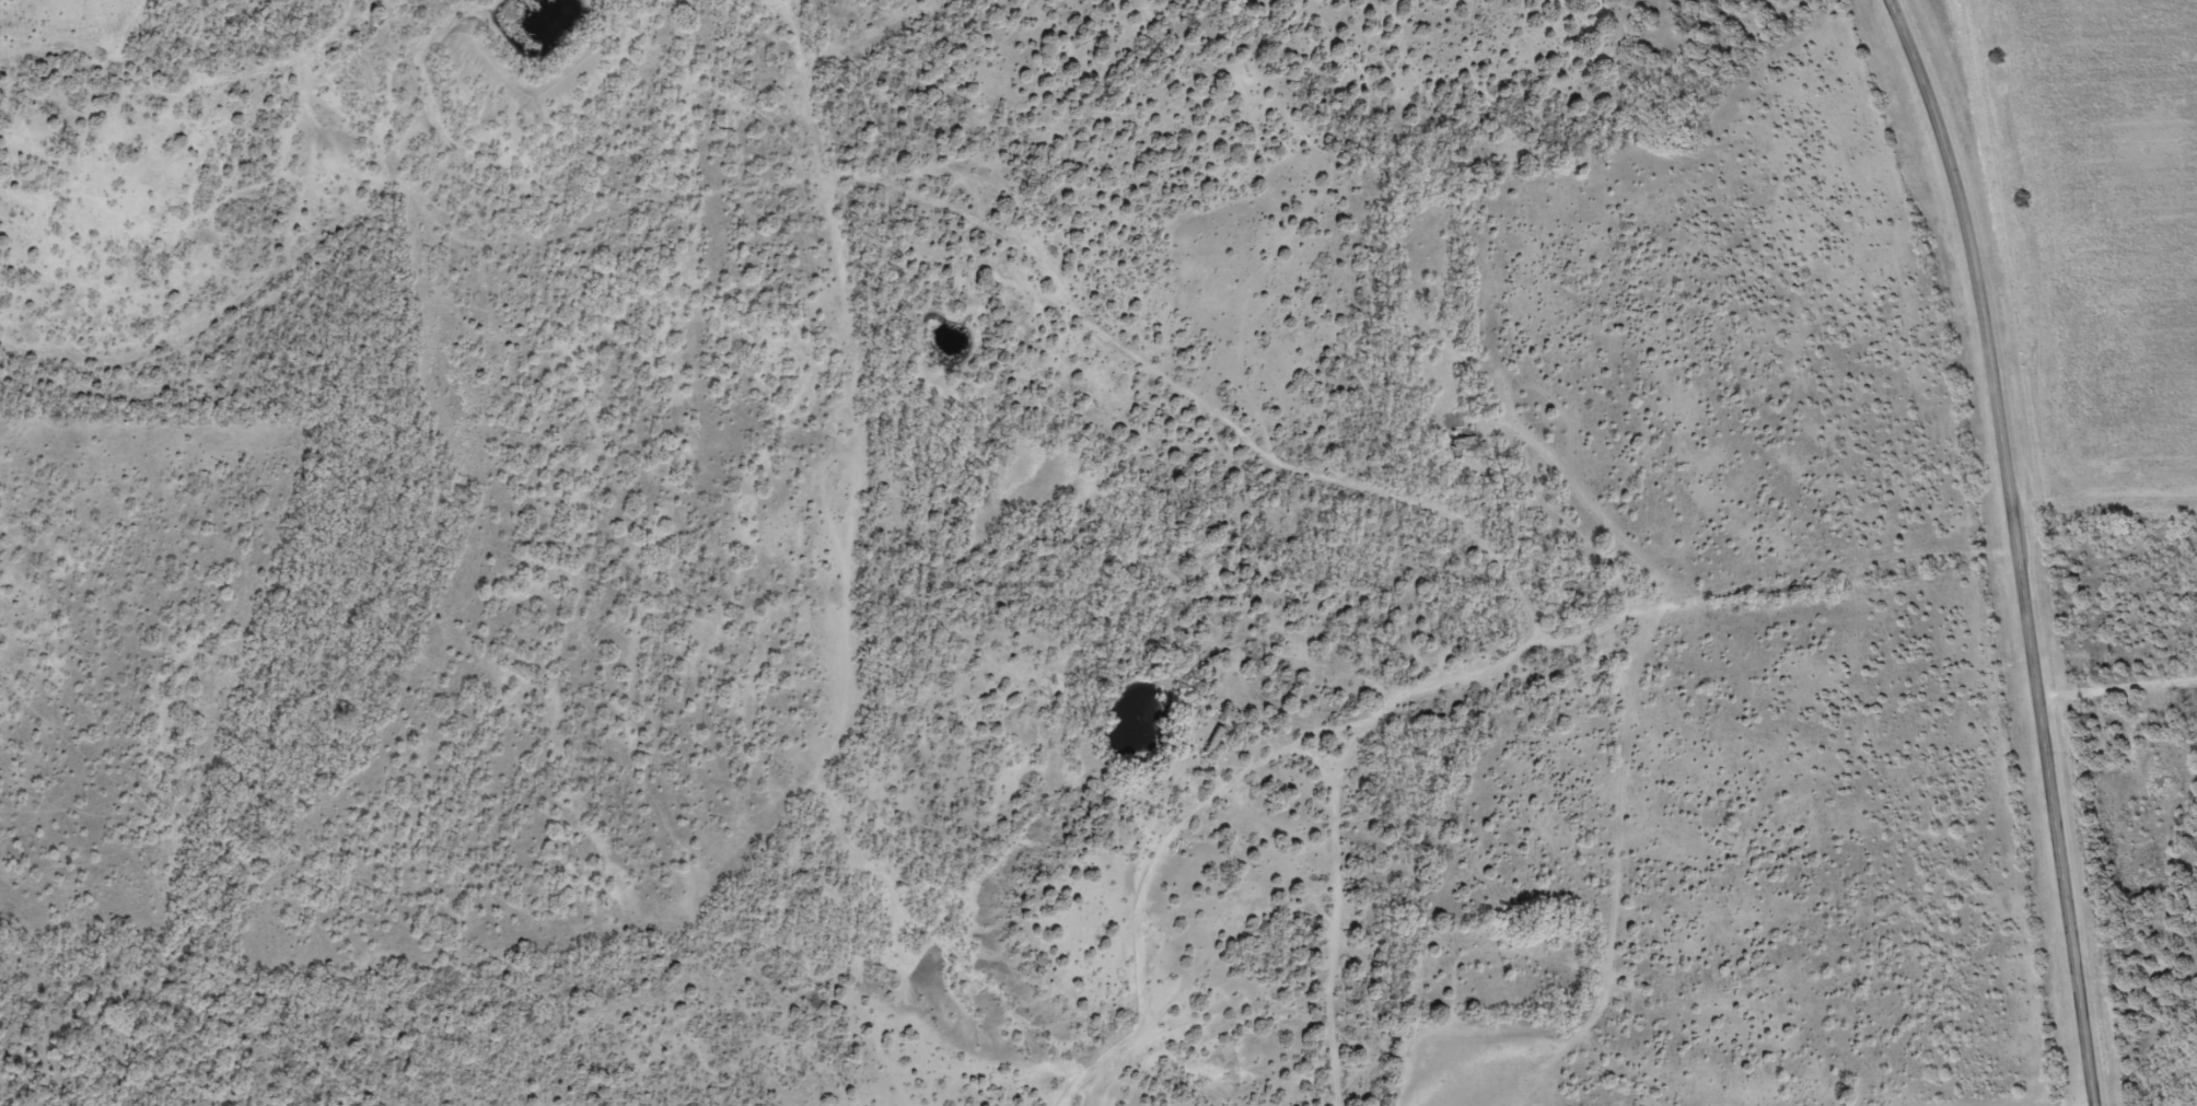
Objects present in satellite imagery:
building: (1458, 436)
road: (1445, 531)
road: (2020, 547)
road: (2112, 720)
road: (1312, 772)

